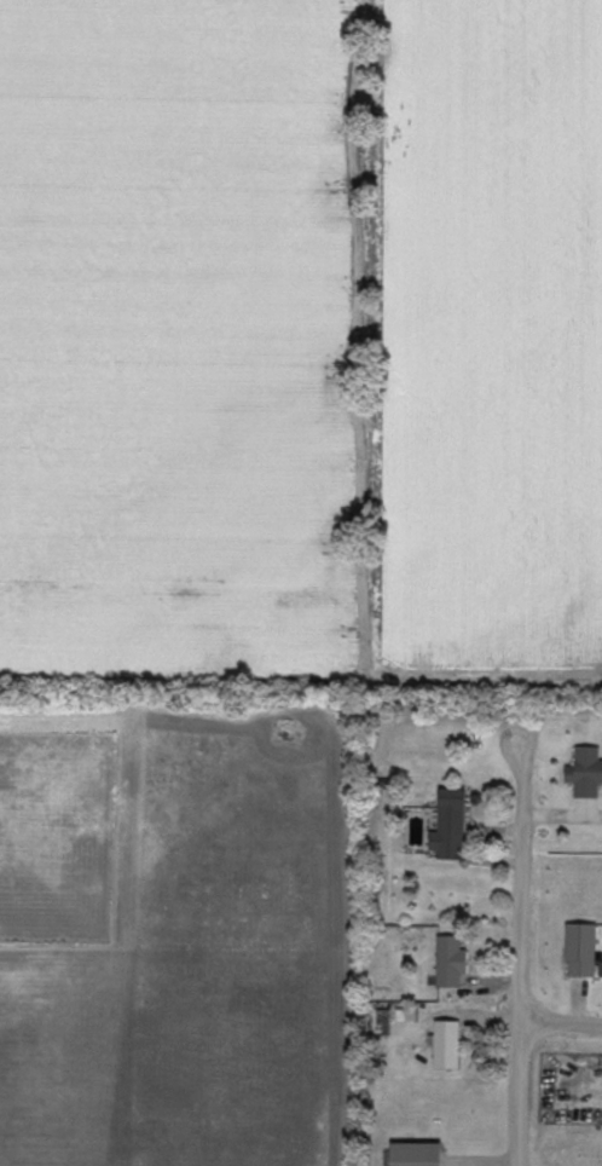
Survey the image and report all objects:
road: (527, 726)
building: (584, 772)
building: (448, 824)
building: (580, 949)
building: (450, 962)
road: (523, 962)
road: (562, 1018)
building: (383, 1022)
building: (446, 1044)
building: (413, 1154)

